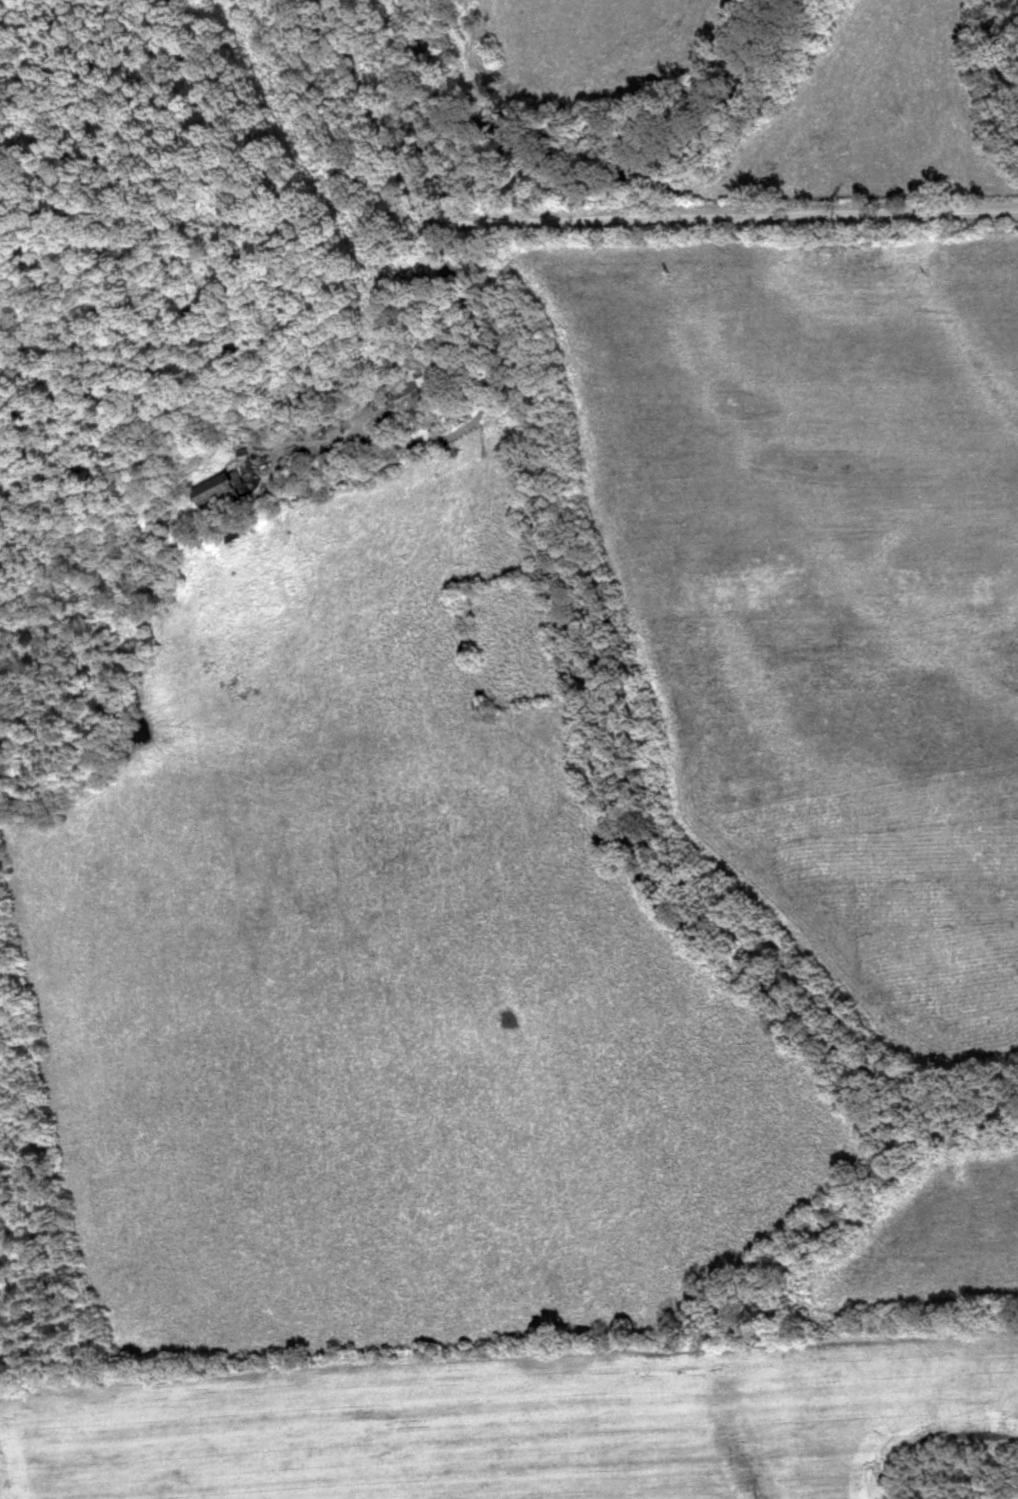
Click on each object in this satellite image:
road: (603, 220)
building: (417, 380)

